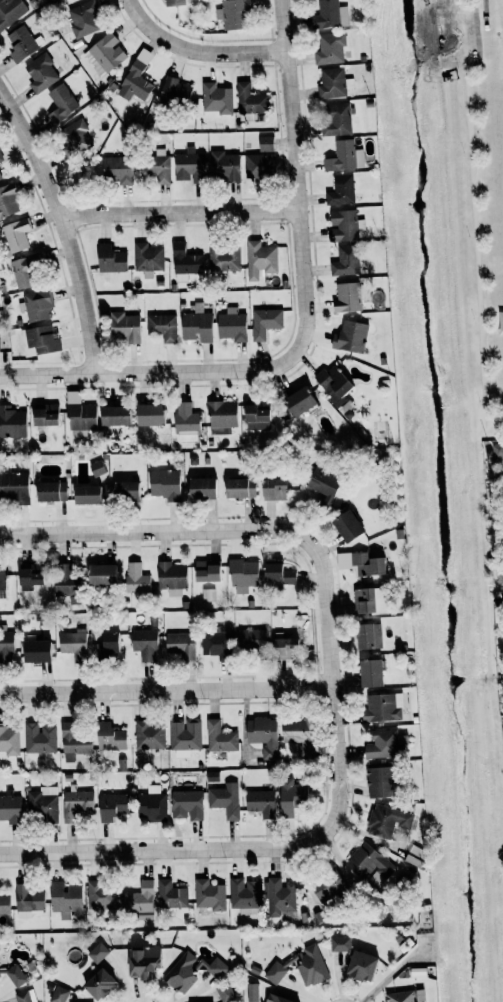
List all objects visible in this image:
building: (174, 3)
road: (461, 3)
building: (10, 11)
building: (232, 13)
building: (330, 15)
building: (83, 19)
road: (464, 36)
building: (22, 42)
building: (330, 49)
road: (194, 50)
building: (104, 54)
building: (41, 74)
building: (136, 79)
building: (177, 92)
building: (250, 100)
building: (216, 101)
building: (61, 103)
building: (335, 119)
building: (76, 137)
building: (265, 144)
building: (343, 157)
building: (0, 159)
building: (189, 165)
building: (223, 166)
building: (259, 166)
building: (156, 168)
building: (116, 169)
building: (0, 177)
park: (480, 184)
road: (295, 186)
building: (340, 190)
building: (7, 200)
road: (179, 212)
building: (343, 226)
road: (63, 227)
building: (17, 234)
road: (475, 247)
building: (223, 258)
building: (109, 259)
building: (148, 259)
building: (259, 259)
building: (345, 262)
building: (184, 263)
building: (24, 272)
building: (346, 298)
building: (36, 305)
building: (264, 322)
building: (195, 324)
building: (231, 325)
building: (124, 327)
building: (162, 327)
building: (351, 336)
building: (39, 341)
road: (141, 373)
building: (296, 403)
building: (78, 413)
building: (221, 414)
building: (148, 415)
building: (43, 416)
building: (112, 416)
building: (255, 418)
building: (185, 422)
building: (11, 423)
building: (495, 451)
building: (96, 469)
building: (163, 484)
building: (322, 484)
building: (14, 487)
building: (199, 489)
building: (238, 489)
building: (49, 490)
building: (125, 490)
building: (272, 490)
building: (85, 494)
building: (346, 527)
road: (155, 534)
building: (366, 563)
building: (207, 570)
building: (99, 574)
building: (242, 574)
building: (277, 575)
building: (27, 576)
building: (171, 577)
building: (62, 578)
building: (136, 578)
building: (1, 581)
building: (367, 599)
building: (367, 635)
building: (250, 639)
building: (107, 641)
building: (70, 642)
building: (144, 643)
building: (215, 643)
building: (179, 644)
building: (5, 645)
building: (282, 647)
building: (34, 650)
building: (368, 672)
road: (332, 676)
road: (165, 690)
building: (381, 707)
building: (148, 735)
building: (297, 735)
building: (184, 736)
building: (262, 736)
building: (109, 737)
building: (219, 737)
building: (40, 738)
building: (9, 741)
building: (74, 742)
building: (381, 744)
building: (379, 780)
building: (290, 796)
building: (224, 799)
building: (259, 802)
building: (76, 803)
building: (187, 803)
building: (43, 804)
building: (152, 804)
building: (111, 806)
building: (10, 808)
building: (386, 820)
road: (171, 847)
building: (368, 863)
building: (328, 887)
building: (245, 894)
building: (171, 895)
building: (209, 895)
building: (279, 895)
building: (102, 897)
building: (66, 899)
building: (27, 900)
building: (140, 901)
building: (4, 904)
building: (339, 944)
building: (97, 952)
building: (141, 961)
building: (310, 965)
building: (360, 965)
building: (213, 968)
building: (274, 972)
building: (181, 973)
building: (15, 975)
building: (97, 983)
building: (224, 992)
building: (253, 992)
building: (58, 994)
building: (25, 996)
building: (404, 996)
building: (276, 998)

